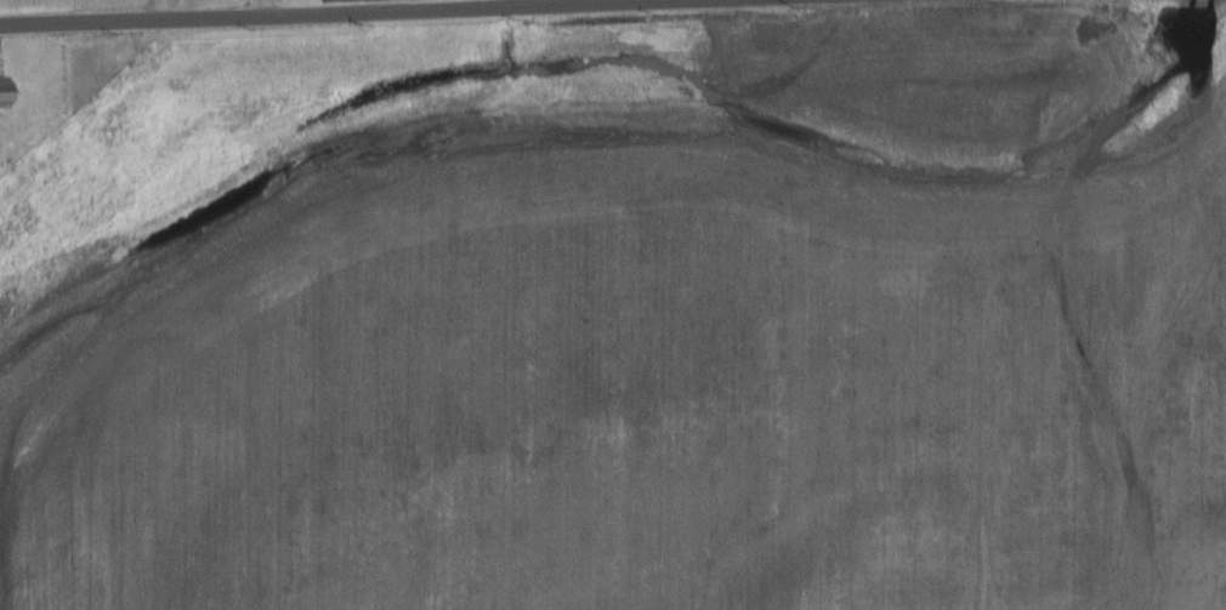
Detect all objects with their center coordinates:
road: (163, 10)
road: (278, 11)
road: (331, 18)
building: (4, 92)

